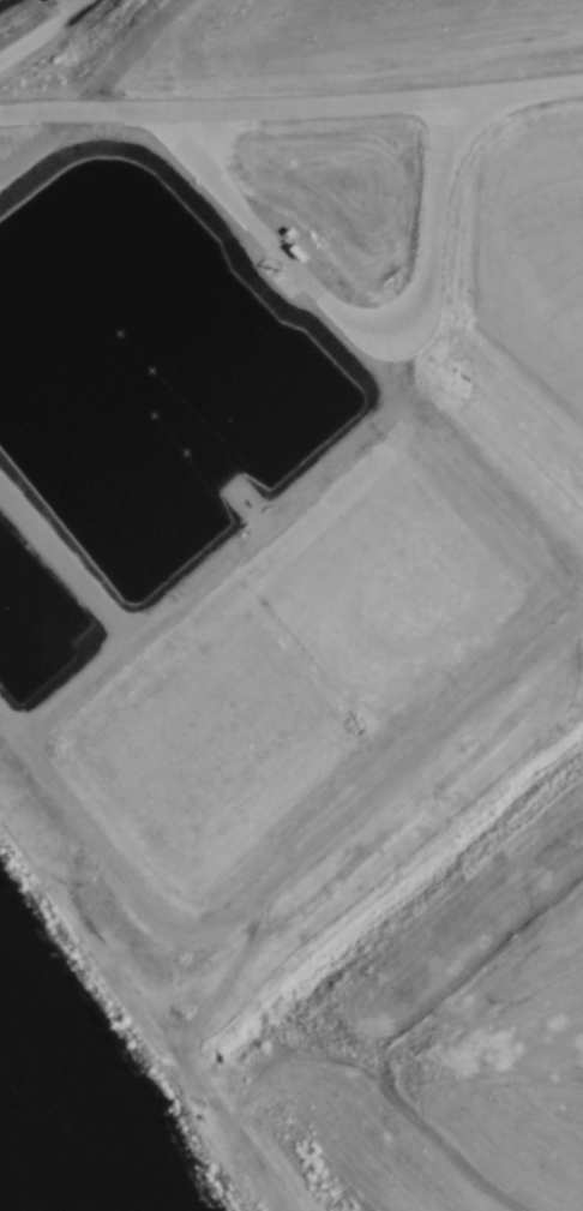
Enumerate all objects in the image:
railway: (1, 1)
road: (53, 49)
building: (489, 65)
road: (318, 298)
power plant: (282, 446)
road: (291, 876)

